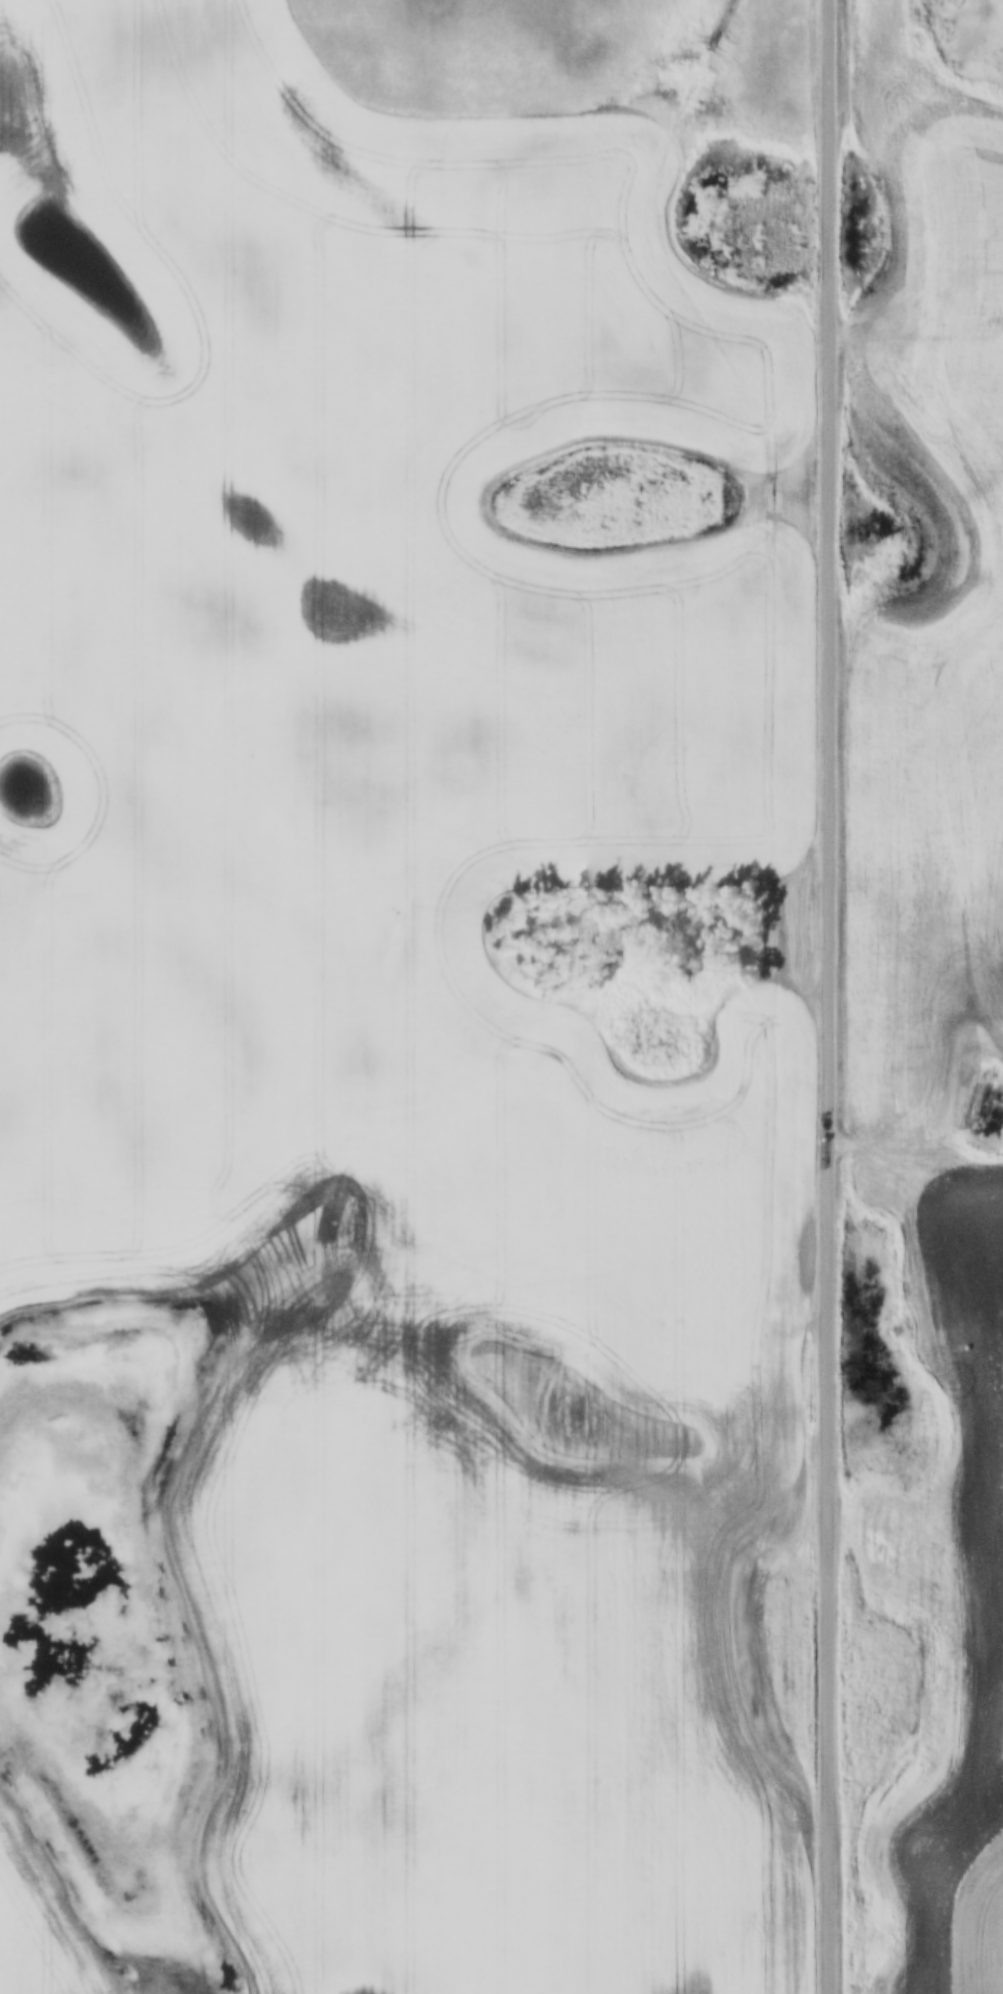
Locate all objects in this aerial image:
road: (831, 997)

